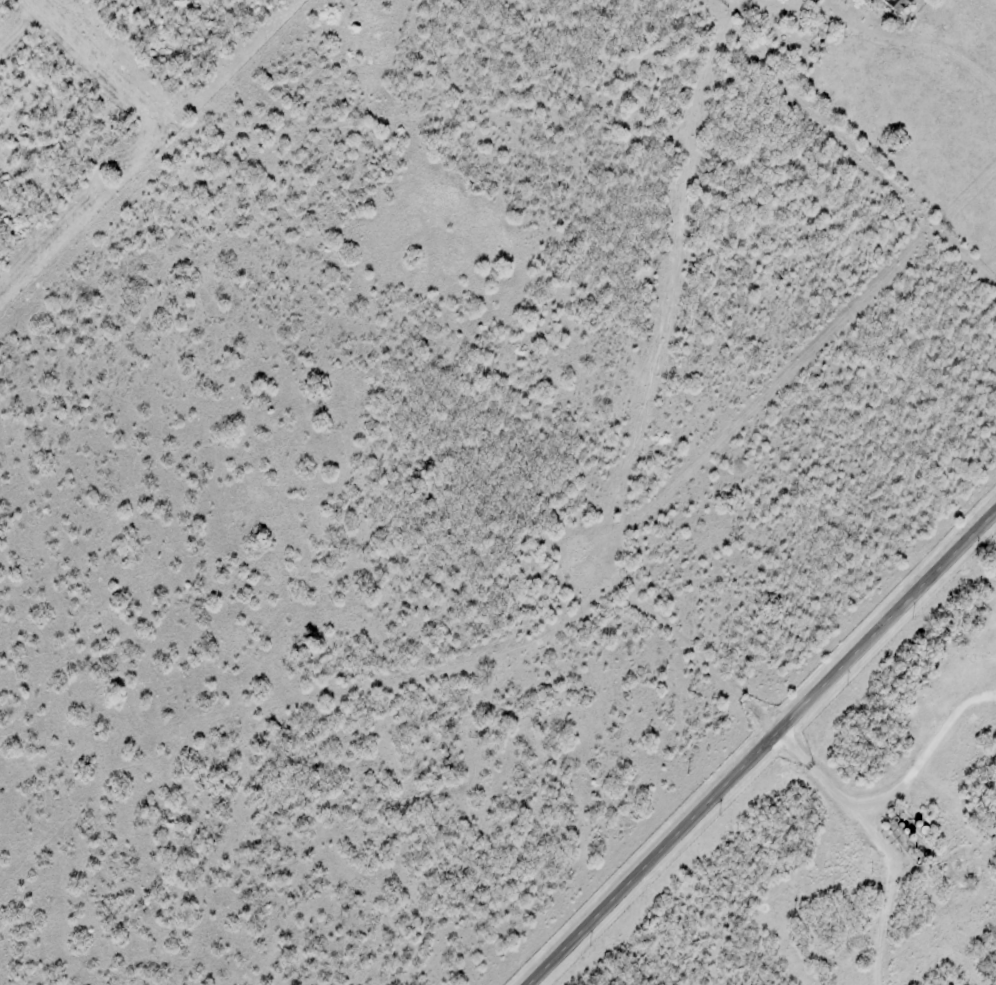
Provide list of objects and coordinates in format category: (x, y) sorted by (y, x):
road: (832, 4)
building: (897, 4)
road: (917, 44)
road: (764, 749)
road: (923, 759)
road: (876, 845)

